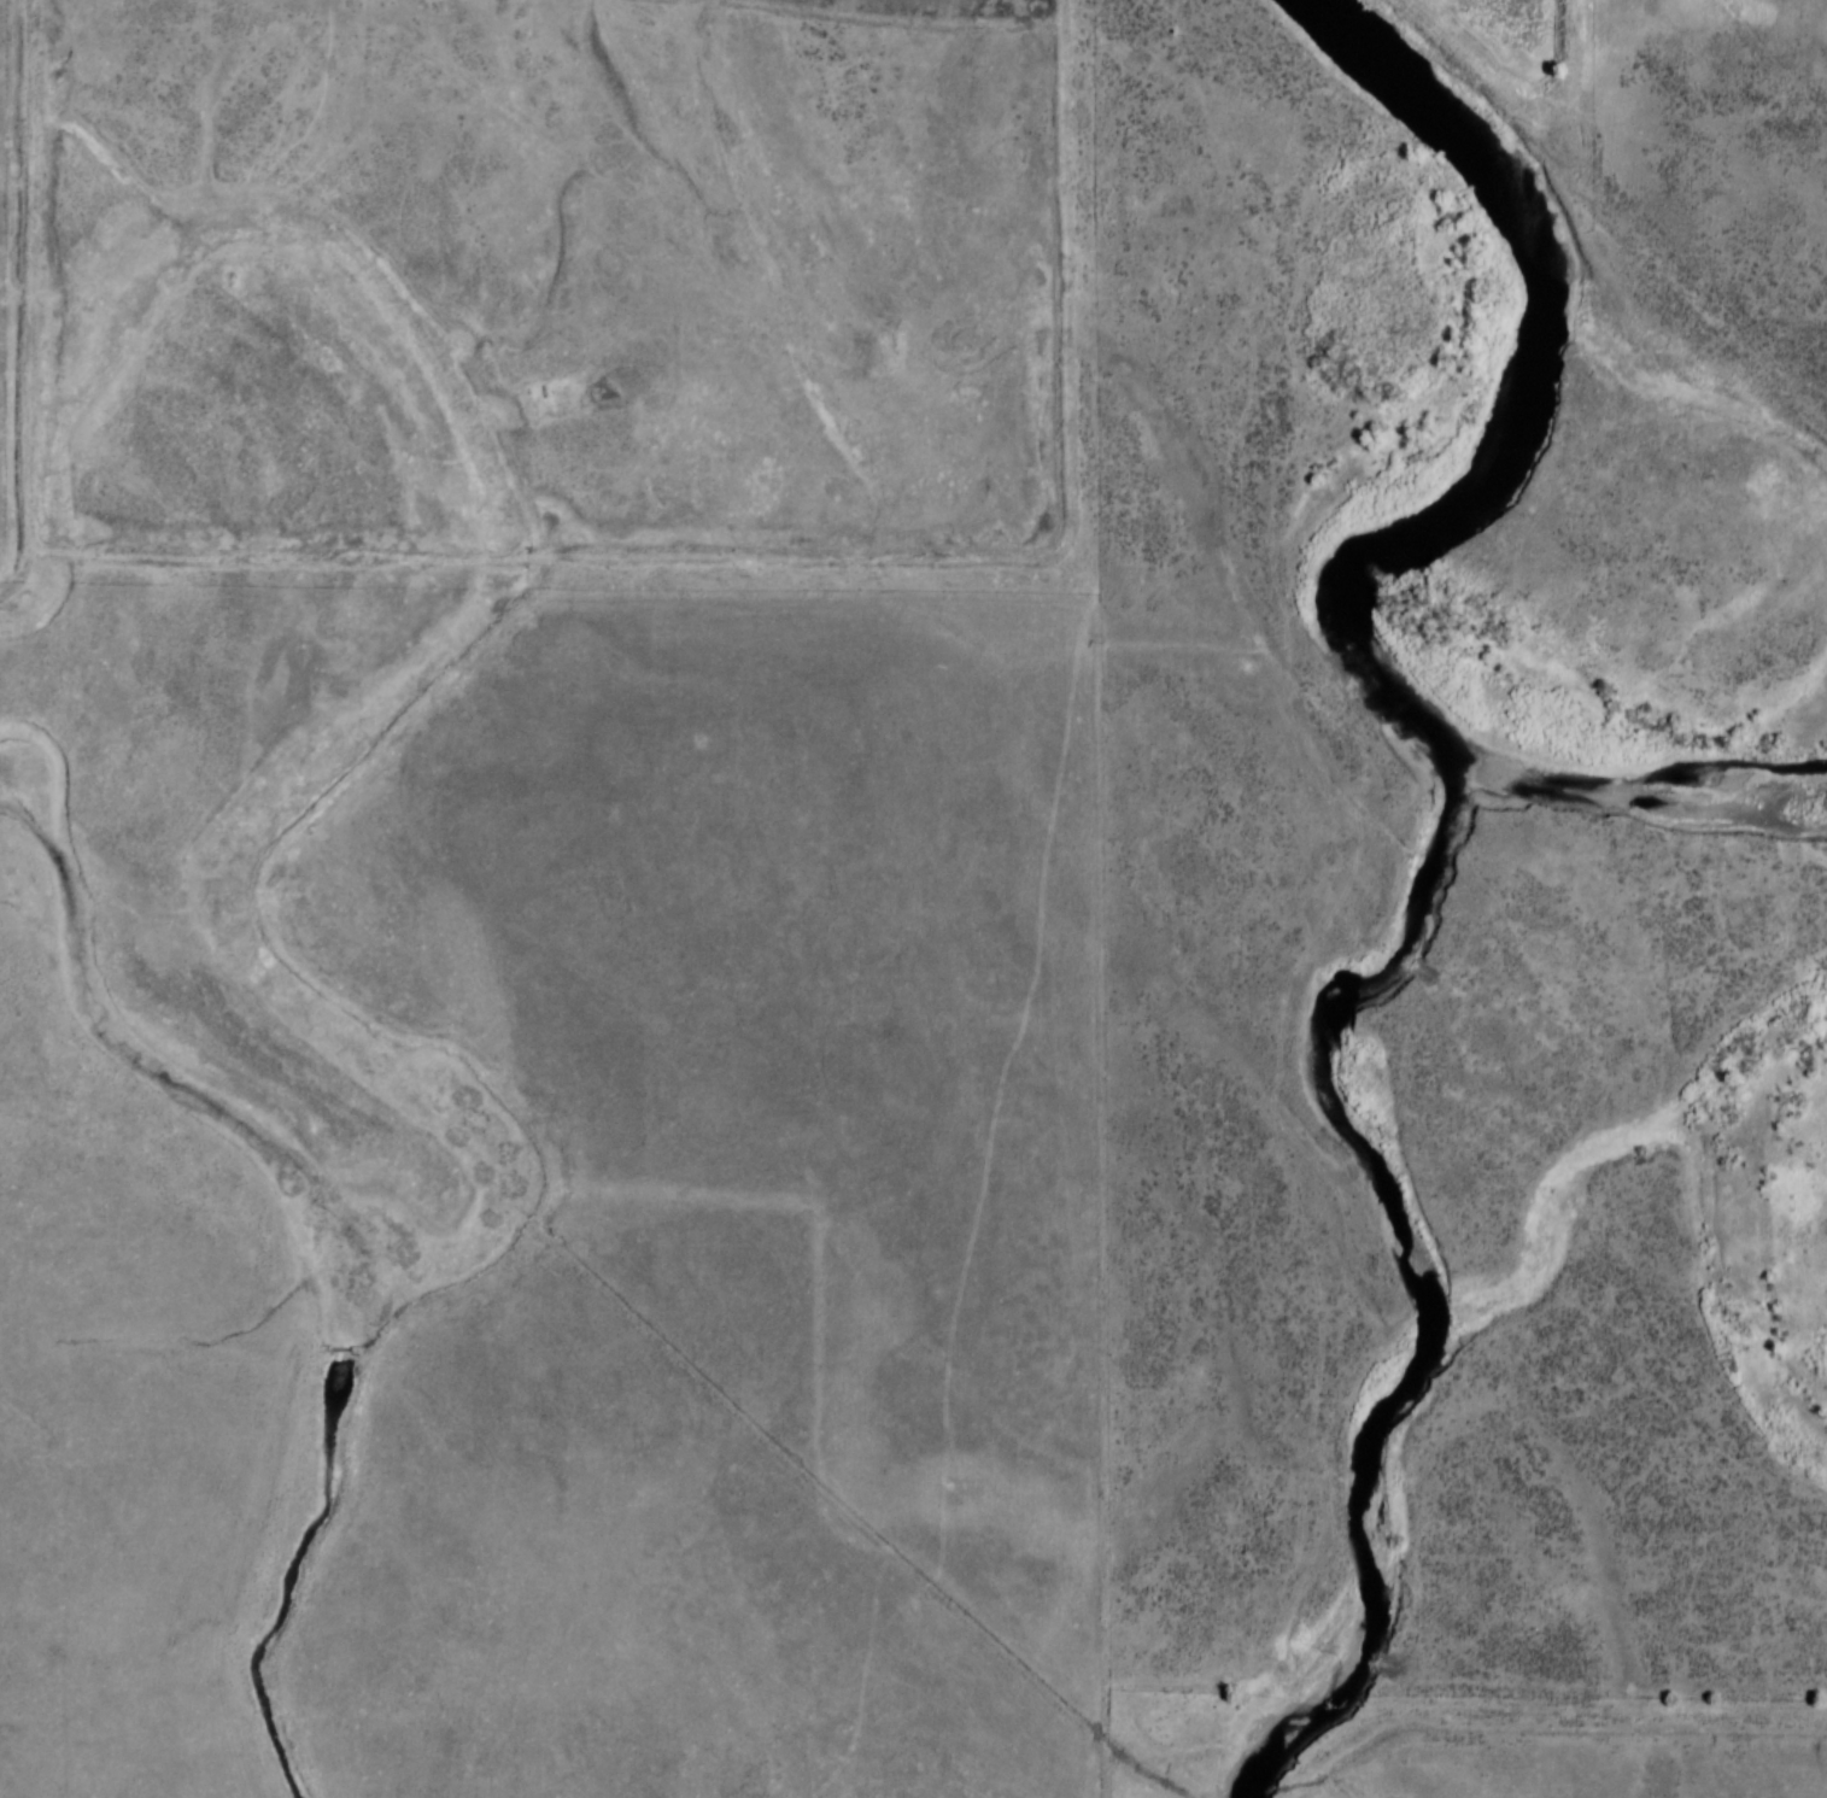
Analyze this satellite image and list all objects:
river: (1437, 506)

